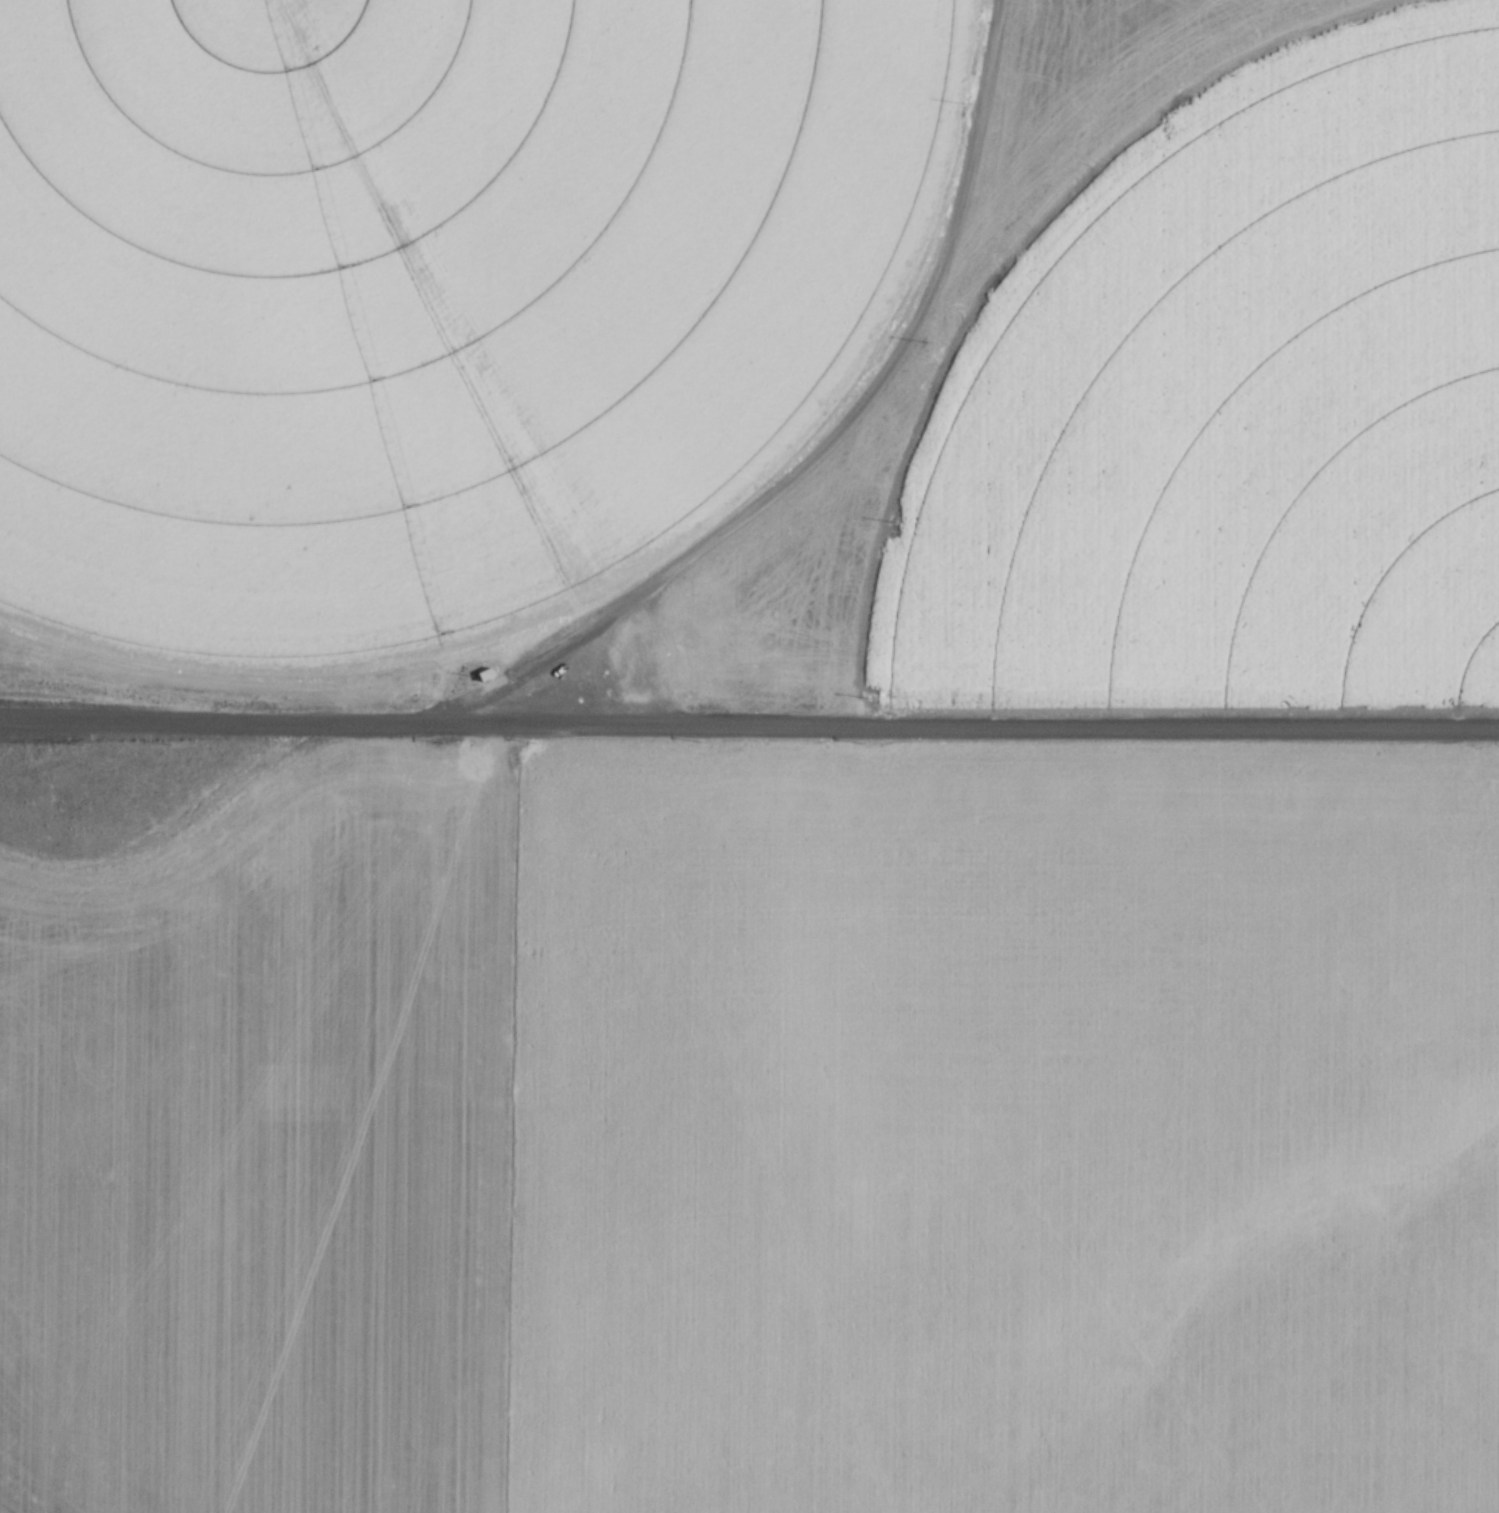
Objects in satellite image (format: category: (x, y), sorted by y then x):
crop: (439, 301)
road: (749, 733)

